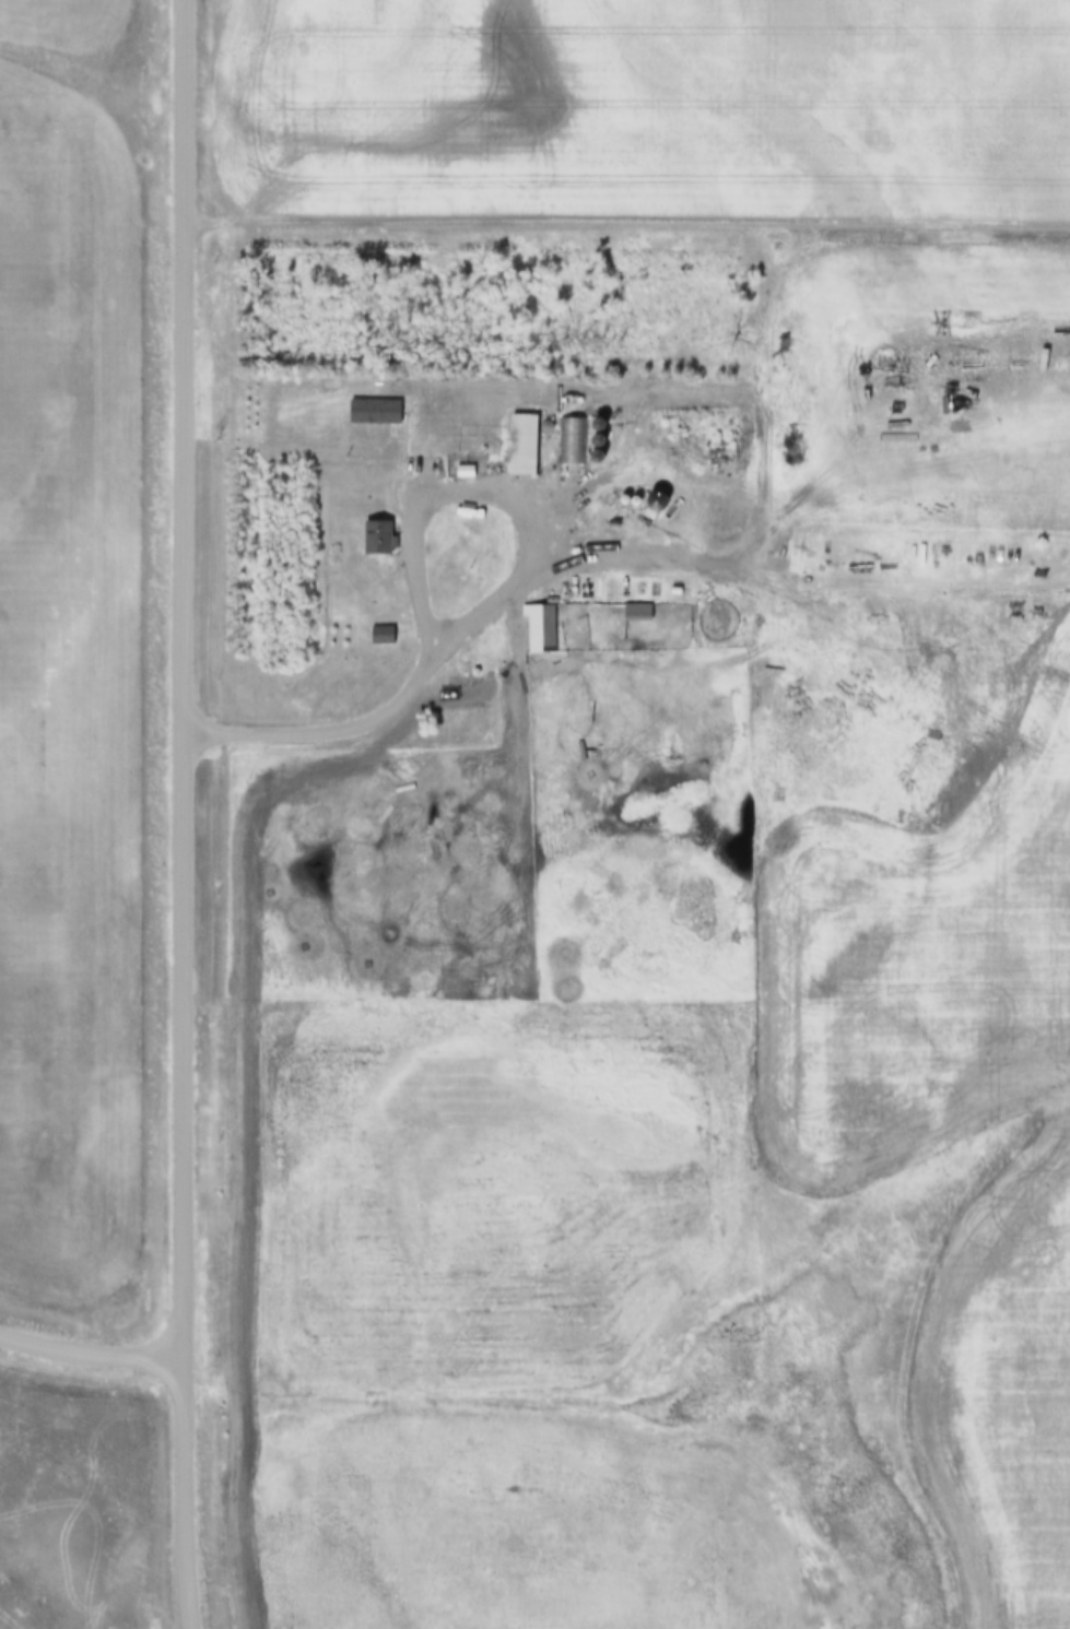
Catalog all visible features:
road: (628, 226)
building: (573, 440)
building: (526, 445)
building: (376, 500)
building: (381, 539)
road: (797, 570)
road: (496, 610)
building: (649, 613)
building: (542, 628)
building: (385, 636)
building: (454, 665)
road: (185, 814)
road: (91, 1356)

